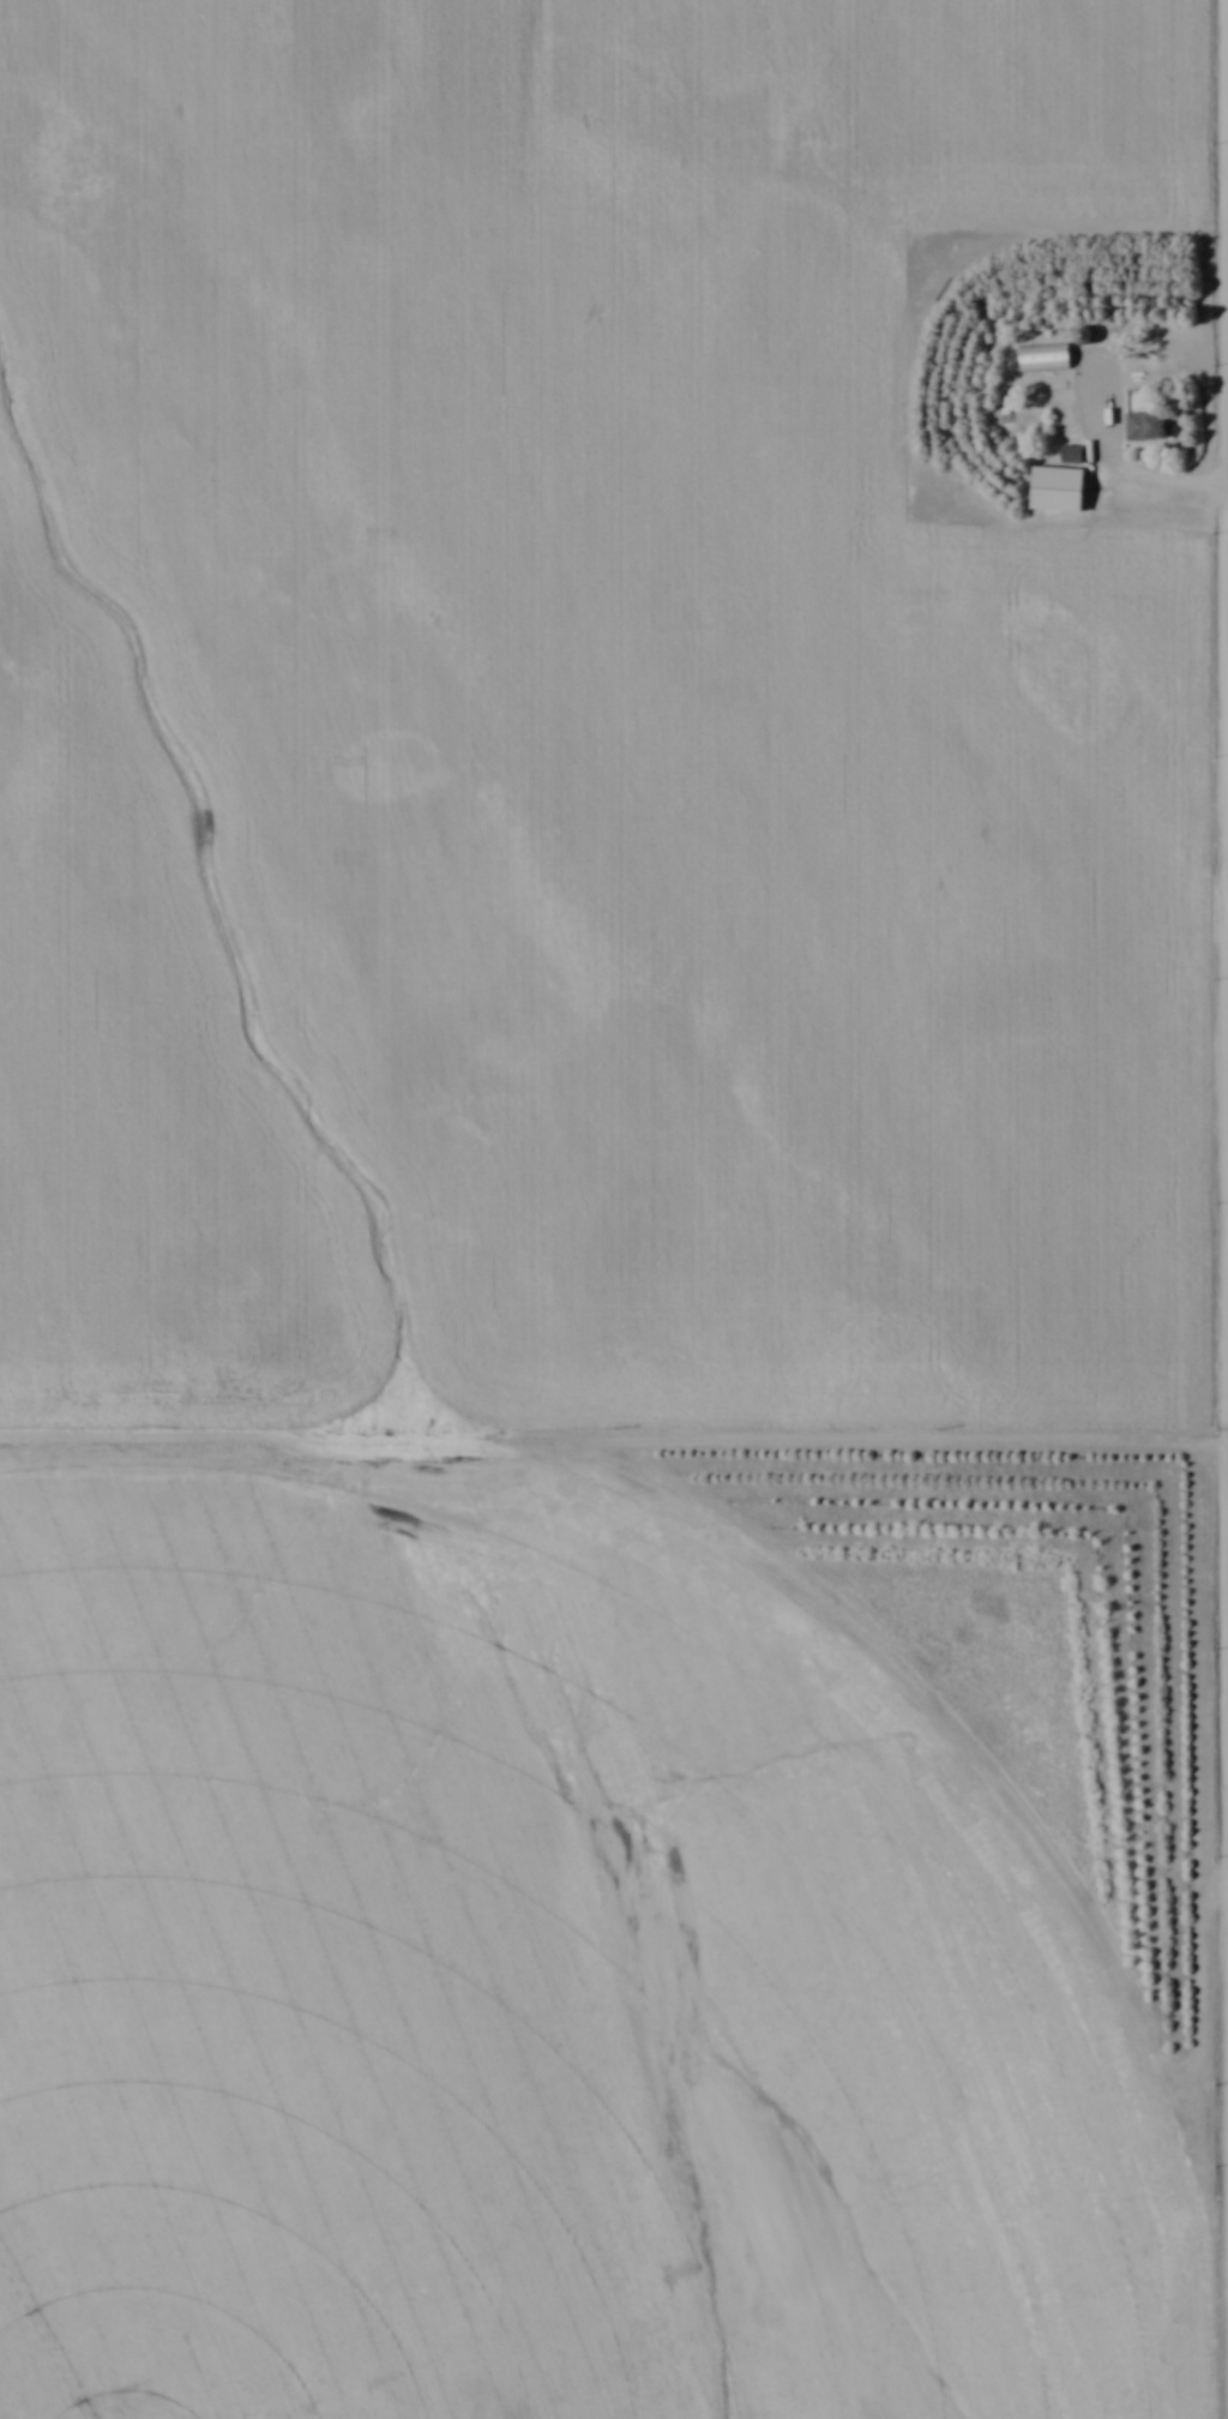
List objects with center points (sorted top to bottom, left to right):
building: (1091, 335)
building: (1048, 359)
building: (1154, 427)
road: (1122, 463)
building: (1066, 490)

